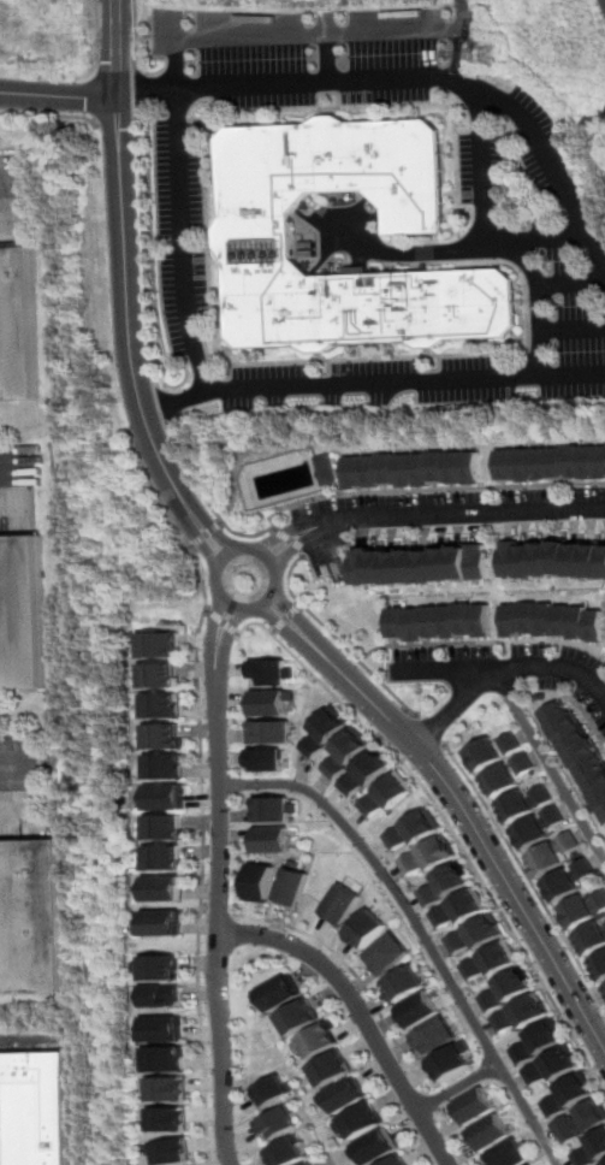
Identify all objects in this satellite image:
road: (134, 18)
road: (95, 19)
road: (105, 22)
road: (295, 32)
power tower: (497, 47)
road: (114, 48)
road: (137, 52)
road: (459, 53)
road: (328, 57)
road: (408, 78)
road: (58, 95)
road: (357, 107)
road: (130, 118)
road: (47, 119)
road: (480, 164)
road: (16, 176)
road: (339, 231)
building: (253, 233)
road: (184, 239)
road: (146, 249)
road: (398, 255)
road: (528, 264)
road: (570, 283)
building: (19, 327)
road: (571, 329)
road: (127, 339)
road: (268, 363)
road: (372, 382)
road: (161, 406)
road: (18, 461)
building: (551, 463)
building: (437, 468)
building: (453, 468)
building: (470, 468)
building: (324, 471)
building: (387, 471)
building: (404, 471)
building: (421, 471)
building: (370, 472)
building: (354, 473)
road: (206, 501)
road: (429, 515)
road: (274, 530)
road: (204, 533)
road: (291, 540)
building: (553, 560)
building: (420, 563)
road: (271, 596)
building: (23, 617)
road: (287, 619)
building: (467, 619)
building: (484, 620)
building: (554, 620)
building: (434, 621)
building: (450, 621)
road: (223, 623)
building: (399, 623)
building: (417, 625)
road: (334, 638)
building: (159, 644)
road: (482, 644)
road: (500, 668)
road: (441, 670)
building: (271, 672)
building: (159, 674)
building: (268, 702)
building: (161, 705)
road: (580, 708)
road: (419, 716)
building: (267, 732)
building: (322, 732)
building: (162, 734)
road: (429, 734)
building: (492, 751)
building: (345, 753)
building: (579, 755)
building: (263, 758)
road: (16, 762)
building: (162, 765)
road: (548, 765)
building: (366, 773)
building: (508, 774)
road: (198, 786)
building: (387, 794)
building: (164, 797)
building: (524, 803)
road: (462, 804)
building: (272, 809)
road: (449, 824)
building: (164, 827)
building: (538, 827)
building: (413, 829)
building: (269, 840)
building: (554, 854)
building: (428, 856)
building: (165, 857)
road: (527, 874)
building: (569, 880)
building: (260, 881)
road: (220, 883)
building: (446, 883)
building: (292, 886)
building: (166, 888)
building: (342, 904)
building: (583, 906)
building: (461, 907)
road: (226, 915)
building: (31, 918)
building: (167, 922)
building: (367, 929)
road: (420, 930)
building: (475, 934)
building: (592, 940)
building: (387, 954)
building: (491, 960)
building: (167, 966)
building: (600, 968)
road: (352, 971)
building: (404, 983)
building: (505, 989)
building: (279, 992)
building: (168, 995)
building: (419, 1010)
building: (520, 1013)
road: (361, 1016)
building: (297, 1018)
building: (168, 1028)
building: (434, 1036)
building: (316, 1042)
building: (536, 1042)
building: (170, 1059)
building: (450, 1060)
building: (551, 1066)
building: (330, 1070)
road: (457, 1088)
building: (172, 1089)
building: (272, 1092)
road: (426, 1093)
building: (568, 1094)
building: (344, 1095)
road: (431, 1102)
building: (474, 1106)
building: (35, 1108)
building: (172, 1119)
building: (362, 1122)
building: (580, 1122)
building: (277, 1123)
building: (490, 1133)
road: (451, 1137)
building: (374, 1147)
building: (591, 1149)
building: (177, 1152)
building: (287, 1153)
building: (506, 1154)
building: (397, 1161)
building: (307, 1164)
building: (532, 1164)
building: (604, 1164)

